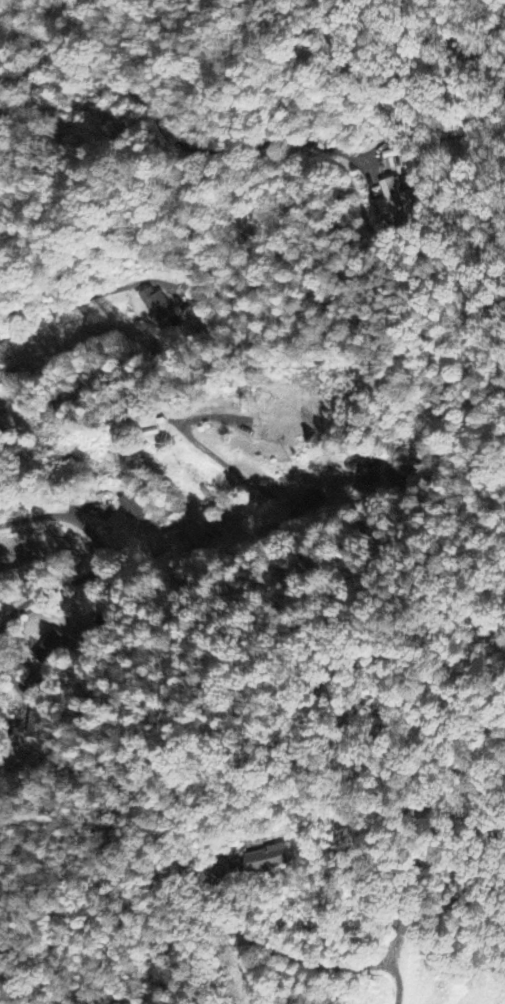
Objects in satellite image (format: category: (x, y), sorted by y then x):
road: (169, 135)
building: (393, 199)
road: (92, 294)
building: (155, 305)
building: (141, 422)
building: (362, 474)
road: (354, 506)
building: (130, 508)
road: (150, 554)
building: (49, 649)
building: (37, 725)
building: (265, 860)
building: (486, 987)
parking lot: (491, 1001)

